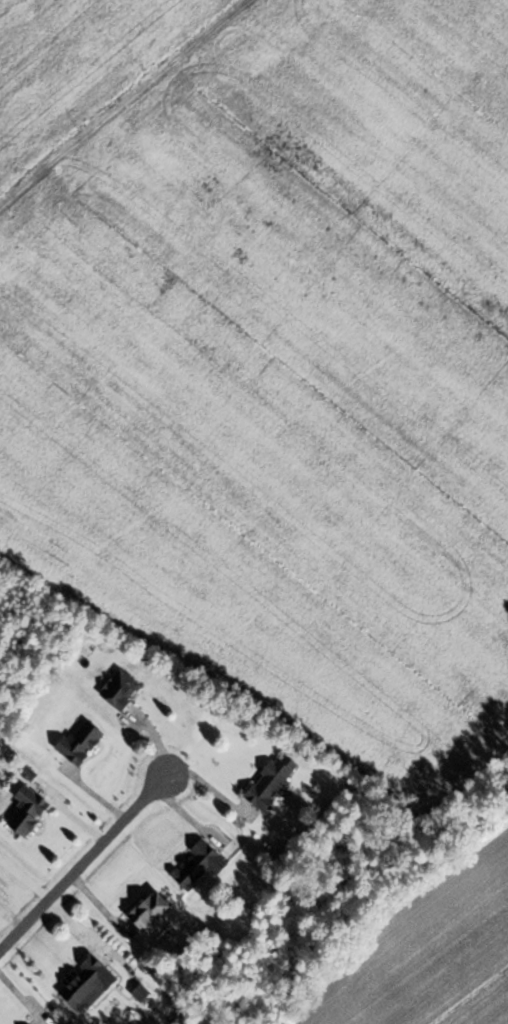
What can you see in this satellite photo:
road: (122, 101)
building: (123, 688)
building: (83, 742)
building: (274, 781)
building: (30, 810)
road: (83, 860)
building: (201, 864)
building: (154, 909)
building: (90, 983)
building: (144, 992)

